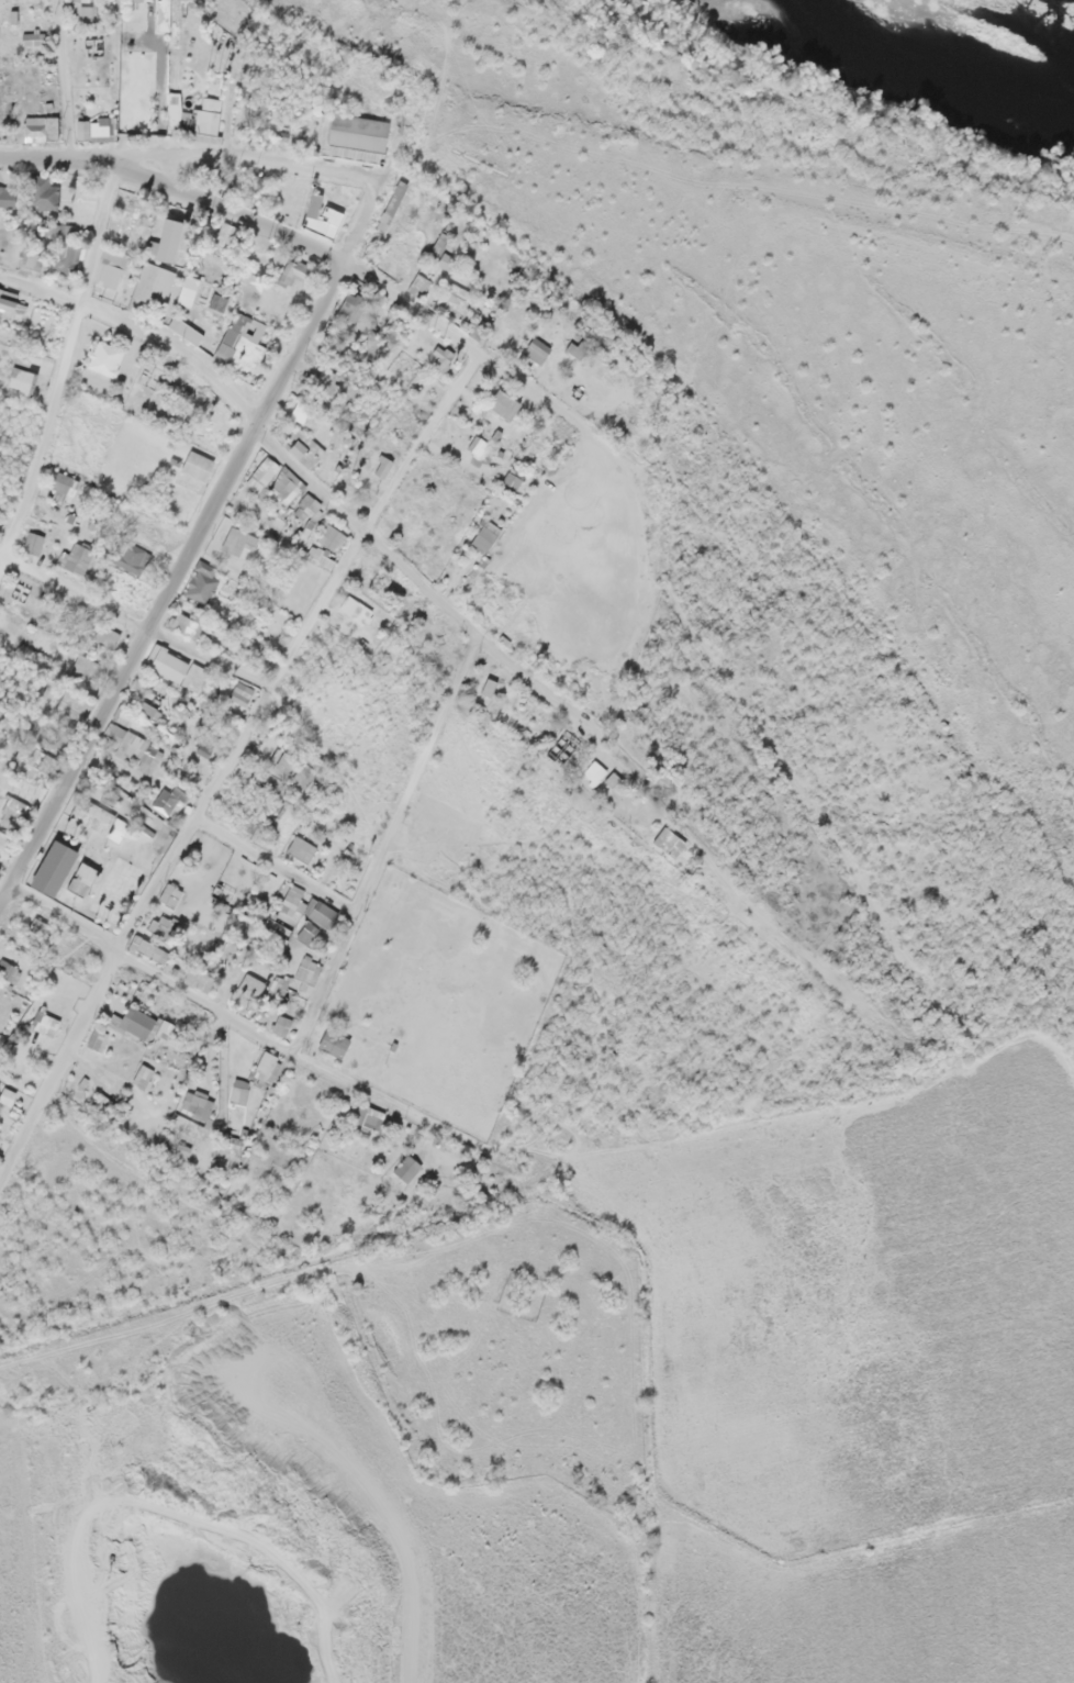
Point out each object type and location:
building: (166, 11)
river: (991, 23)
building: (35, 29)
road: (63, 80)
building: (355, 129)
building: (399, 189)
building: (51, 190)
building: (87, 190)
road: (219, 203)
building: (172, 230)
road: (99, 233)
building: (158, 279)
road: (142, 327)
road: (495, 363)
building: (23, 372)
building: (200, 460)
building: (517, 471)
building: (64, 481)
building: (0, 494)
road: (208, 514)
building: (486, 534)
building: (329, 539)
building: (80, 554)
road: (135, 621)
road: (493, 646)
building: (170, 659)
building: (246, 690)
building: (153, 702)
building: (120, 726)
road: (228, 760)
road: (385, 844)
road: (277, 860)
road: (239, 1022)
road: (104, 1075)
road: (9, 1138)

